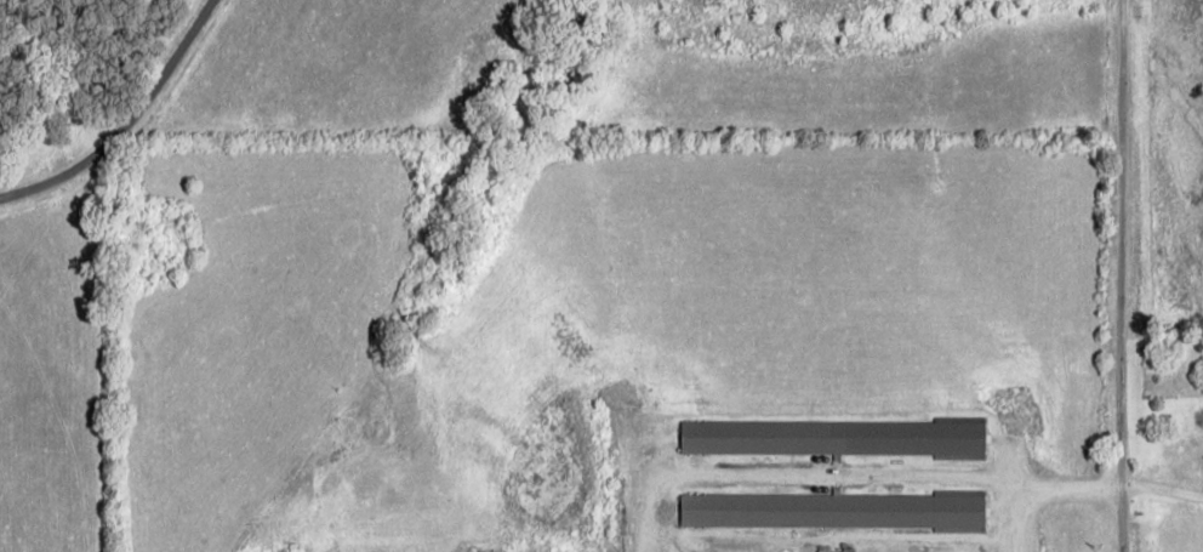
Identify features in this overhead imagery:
road: (119, 115)
road: (1089, 273)
building: (839, 437)
building: (839, 511)
building: (837, 551)

